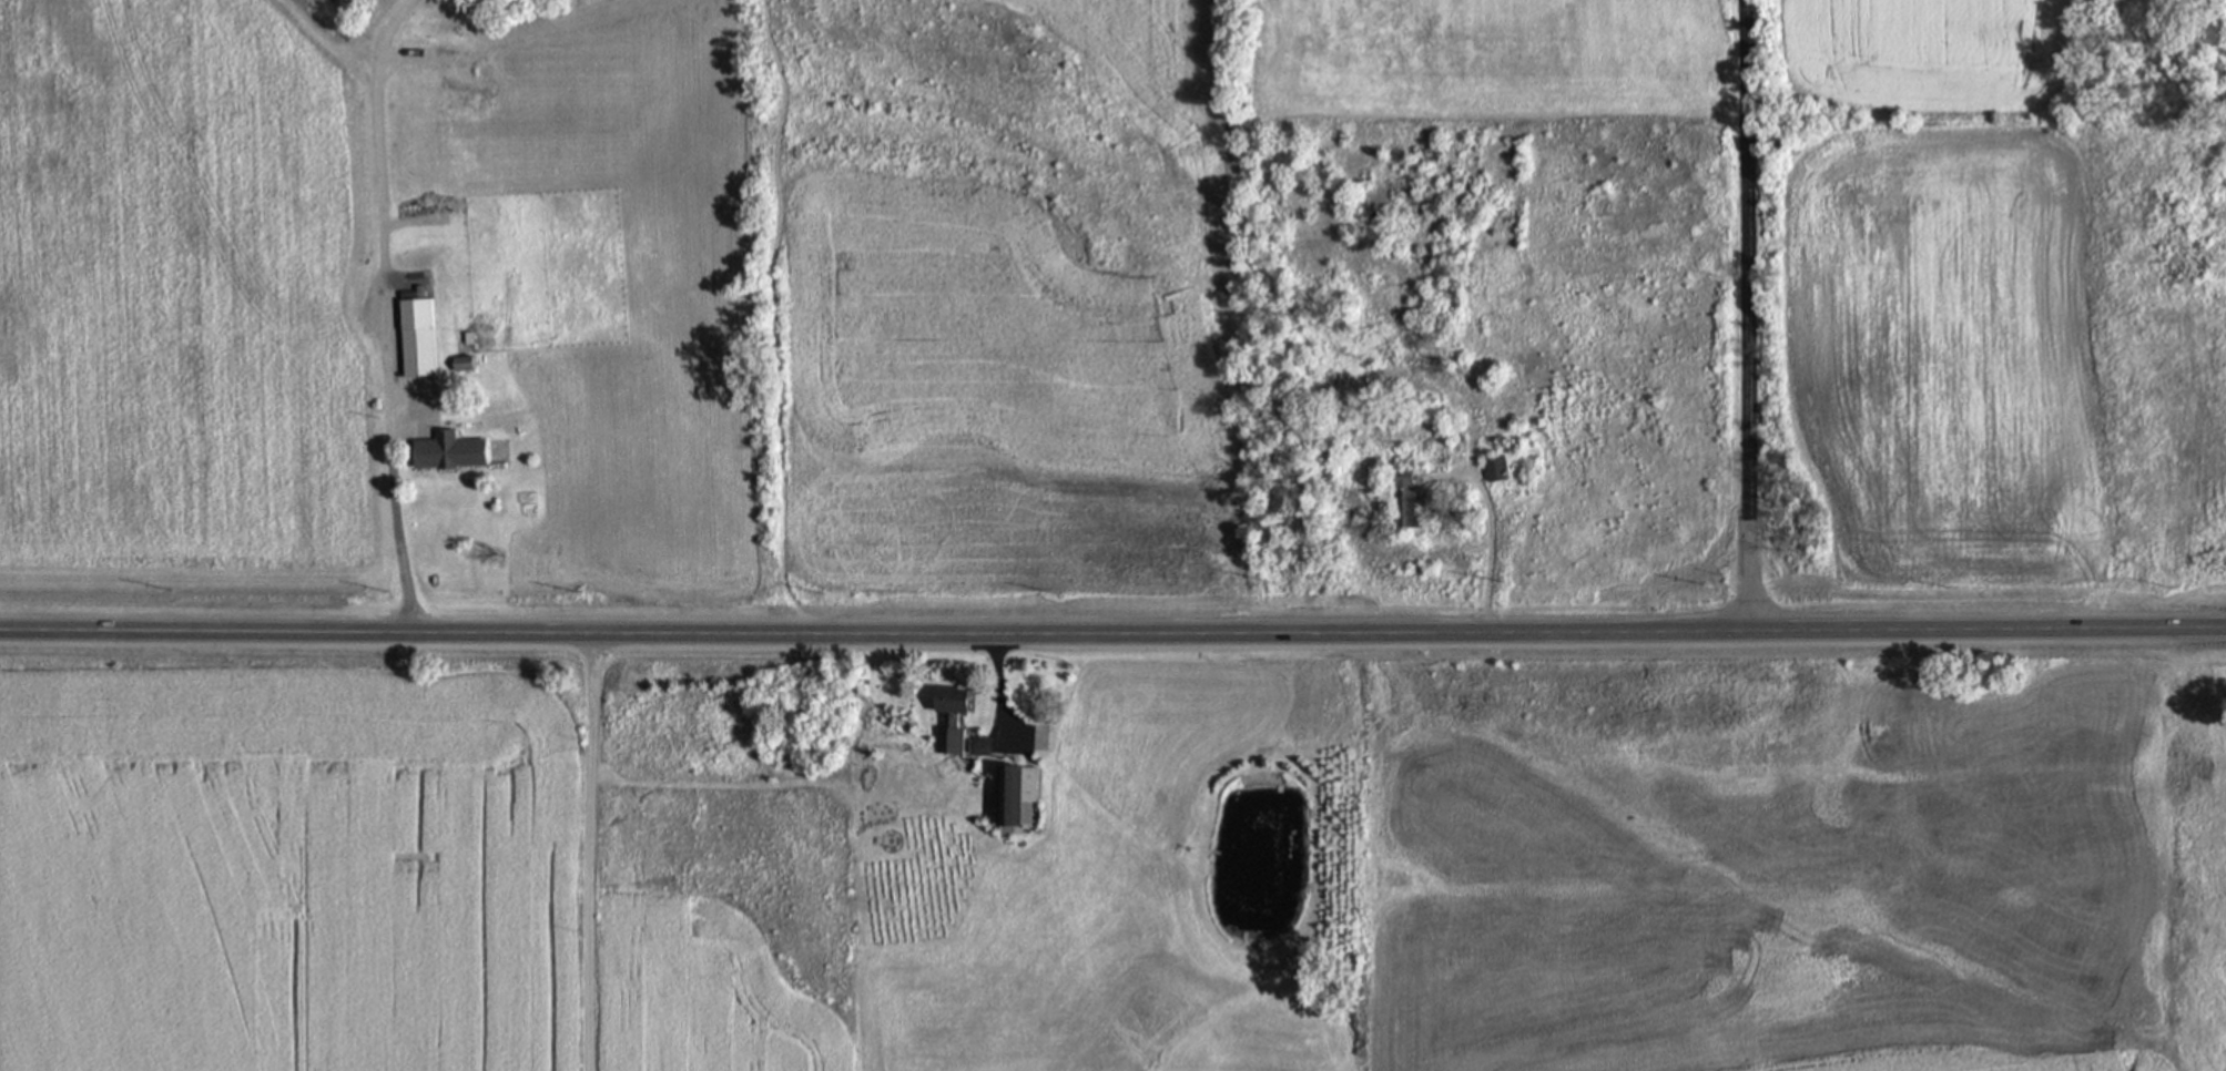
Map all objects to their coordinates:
quarry: (419, 17)
road: (332, 44)
road: (373, 130)
road: (1746, 315)
building: (414, 337)
building: (461, 363)
road: (388, 450)
building: (447, 450)
building: (1493, 467)
building: (1401, 489)
road: (1112, 631)
road: (998, 694)
building: (949, 706)
building: (975, 744)
building: (1008, 792)
road: (586, 850)

